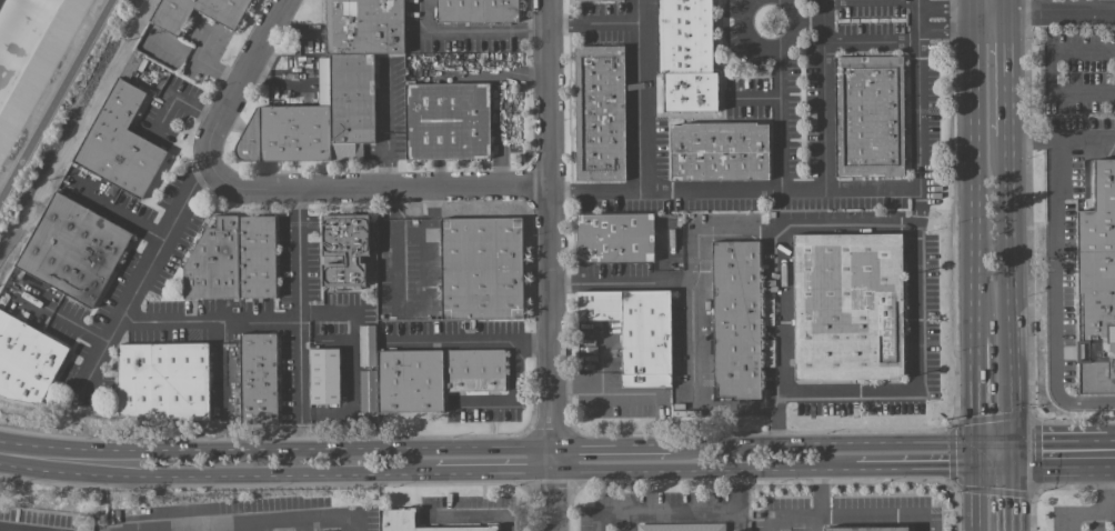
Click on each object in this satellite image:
building: (582, 0)
road: (871, 0)
road: (973, 6)
road: (1007, 8)
building: (478, 10)
road: (946, 11)
building: (224, 13)
road: (974, 13)
road: (1062, 16)
road: (991, 17)
road: (599, 24)
road: (974, 24)
building: (365, 26)
road: (297, 30)
road: (474, 30)
road: (946, 32)
road: (170, 43)
road: (872, 44)
road: (771, 50)
building: (687, 56)
road: (247, 67)
road: (211, 69)
road: (1048, 71)
road: (1008, 76)
road: (647, 96)
road: (824, 96)
road: (753, 100)
road: (58, 103)
road: (920, 108)
building: (601, 112)
building: (870, 116)
building: (319, 118)
building: (448, 120)
road: (781, 120)
road: (1062, 140)
building: (120, 142)
building: (721, 151)
road: (204, 176)
road: (975, 184)
road: (360, 188)
road: (735, 192)
road: (114, 214)
building: (615, 237)
road: (779, 243)
building: (345, 248)
building: (74, 252)
building: (258, 259)
building: (215, 265)
road: (551, 265)
building: (482, 267)
road: (1052, 270)
road: (624, 280)
building: (1097, 284)
road: (139, 289)
road: (1011, 294)
road: (300, 305)
building: (850, 305)
building: (737, 318)
road: (62, 320)
road: (691, 320)
road: (210, 325)
building: (636, 331)
road: (510, 344)
road: (534, 349)
building: (27, 363)
road: (358, 367)
building: (434, 377)
building: (327, 379)
building: (260, 380)
building: (165, 382)
road: (916, 392)
road: (623, 401)
road: (976, 401)
road: (1086, 401)
road: (842, 441)
traffic signals: (977, 441)
road: (611, 443)
road: (275, 447)
road: (1112, 452)
road: (1061, 453)
traffic signals: (1013, 454)
road: (934, 467)
traffic signals: (977, 467)
road: (796, 468)
road: (645, 470)
road: (493, 472)
road: (215, 474)
road: (1013, 492)
road: (977, 499)
road: (882, 510)
road: (1107, 510)
road: (682, 511)
road: (473, 514)
building: (395, 517)
road: (814, 520)
road: (301, 525)
building: (681, 527)
road: (814, 527)
building: (865, 528)

